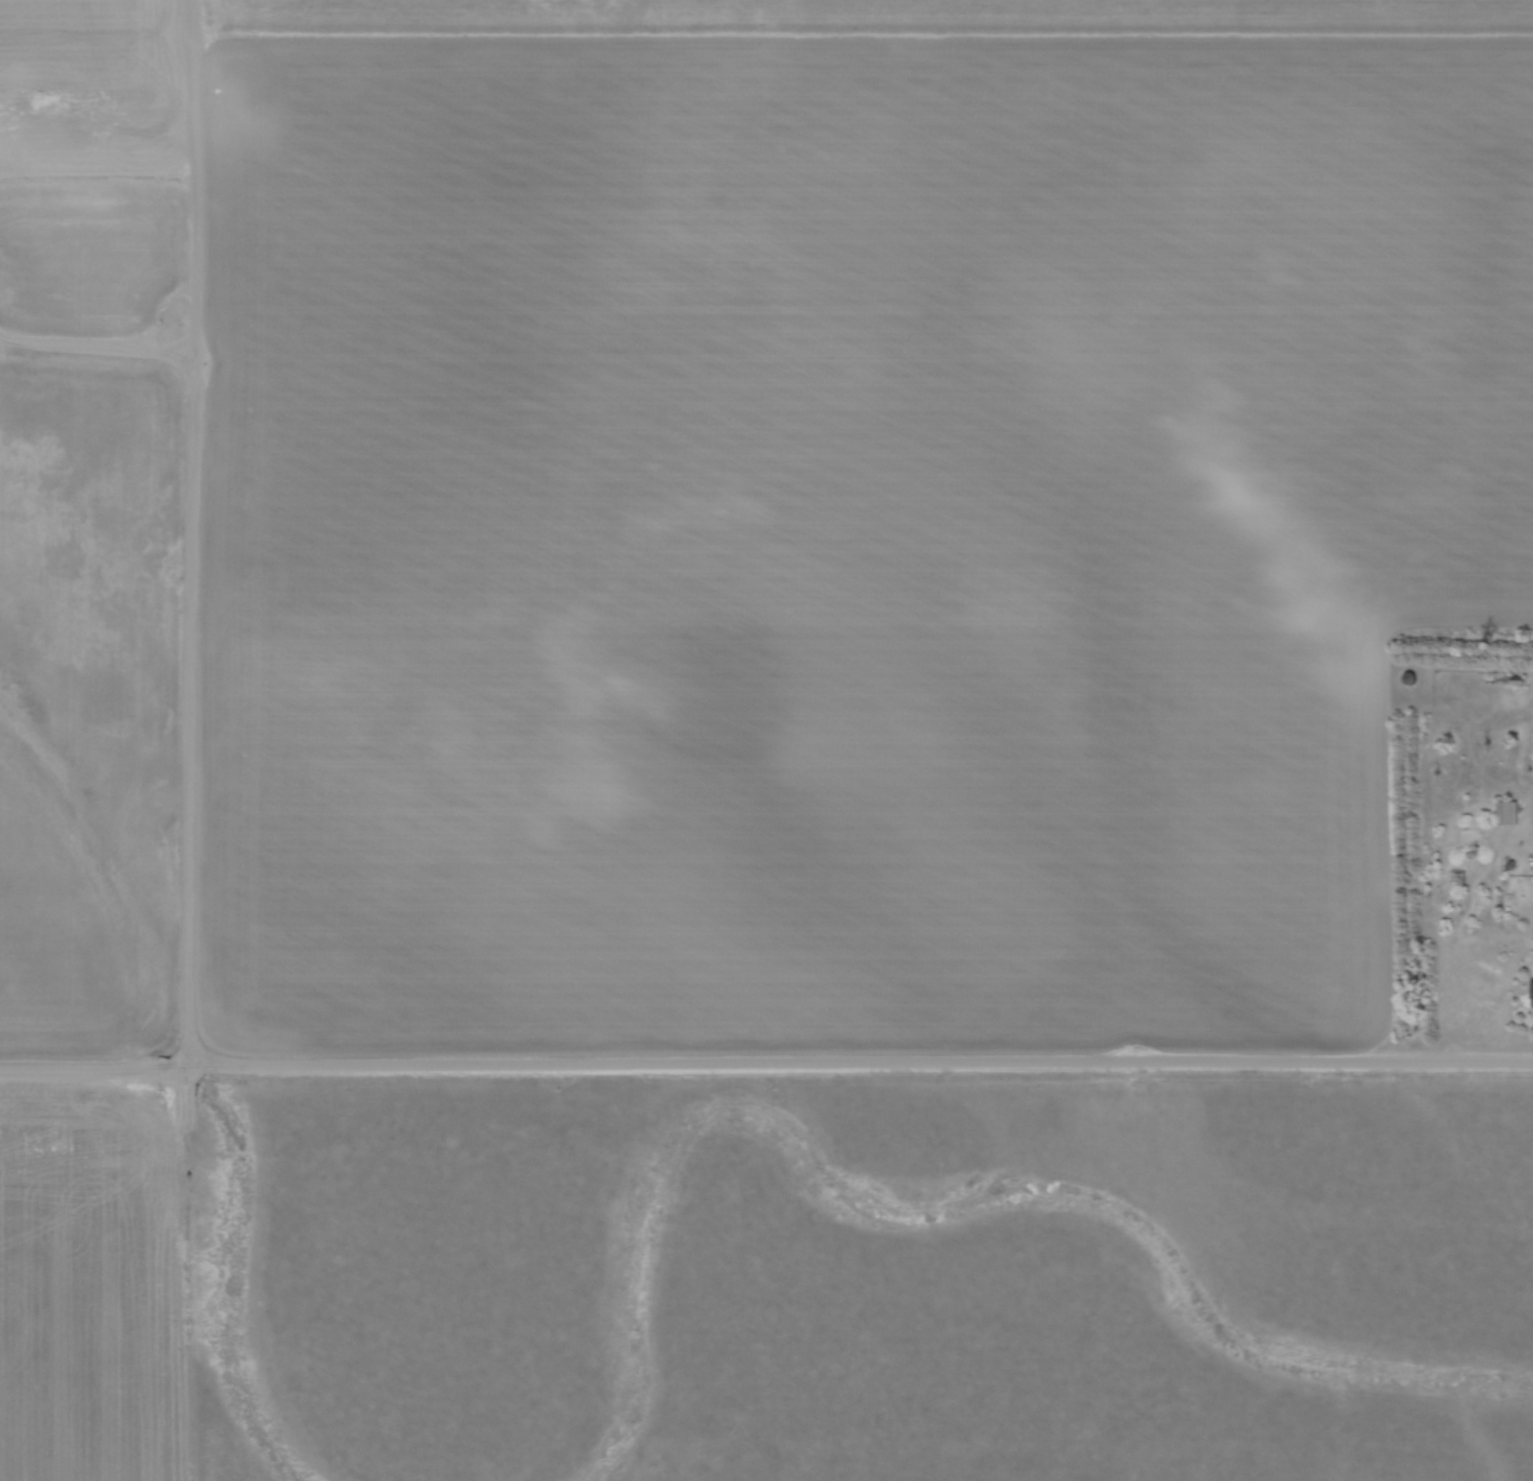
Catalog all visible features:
crop: (806, 493)
road: (193, 617)
silo: (1410, 677)
building: (1517, 678)
crop: (88, 695)
building: (1508, 812)
building: (1466, 834)
building: (1457, 875)
building: (1532, 993)
road: (766, 1062)
crop: (87, 1288)

